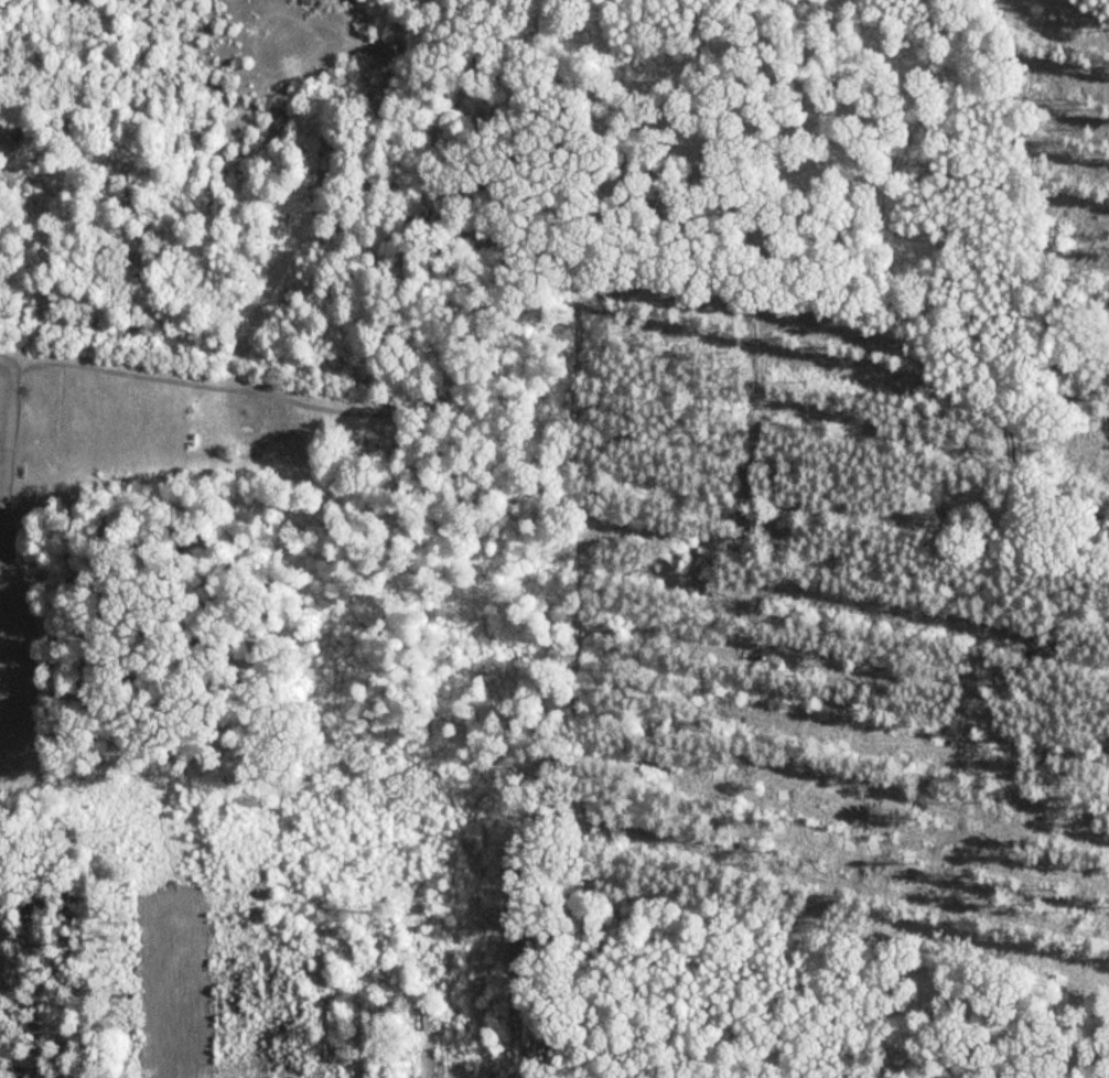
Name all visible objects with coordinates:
building: (422, 1023)

